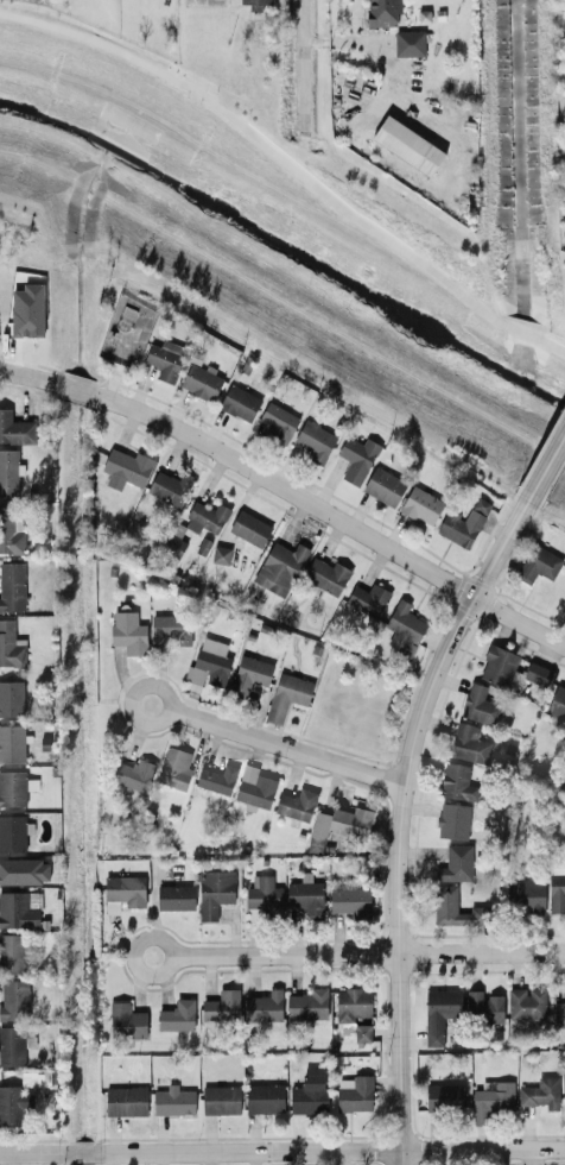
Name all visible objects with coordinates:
building: (254, 4)
building: (383, 12)
road: (367, 39)
building: (408, 42)
road: (298, 62)
building: (407, 144)
road: (267, 146)
river: (285, 251)
building: (26, 310)
road: (522, 330)
road: (550, 342)
building: (165, 358)
road: (31, 379)
building: (201, 380)
road: (75, 389)
building: (239, 402)
building: (277, 421)
building: (14, 428)
building: (312, 440)
road: (547, 455)
building: (356, 458)
building: (125, 467)
building: (8, 471)
building: (383, 485)
building: (167, 486)
building: (420, 504)
road: (328, 515)
building: (204, 517)
building: (463, 523)
building: (11, 528)
building: (249, 528)
building: (220, 554)
building: (538, 563)
building: (278, 566)
building: (326, 575)
building: (11, 585)
building: (367, 598)
building: (167, 630)
building: (127, 631)
building: (11, 644)
building: (209, 661)
building: (496, 665)
building: (537, 673)
building: (248, 674)
building: (286, 694)
building: (11, 698)
road: (167, 699)
building: (557, 704)
building: (478, 705)
building: (11, 742)
building: (468, 743)
road: (282, 748)
building: (174, 768)
building: (140, 774)
building: (216, 779)
building: (456, 781)
building: (14, 786)
building: (254, 787)
building: (296, 804)
road: (396, 811)
building: (452, 820)
building: (337, 825)
building: (14, 832)
building: (455, 863)
building: (23, 870)
building: (214, 890)
building: (122, 892)
building: (262, 893)
building: (556, 893)
building: (305, 895)
building: (526, 895)
building: (174, 896)
building: (350, 901)
building: (19, 908)
building: (455, 908)
road: (164, 940)
building: (12, 952)
road: (368, 953)
building: (13, 999)
building: (351, 1002)
building: (526, 1002)
building: (306, 1005)
building: (221, 1006)
building: (264, 1006)
building: (483, 1006)
building: (439, 1013)
building: (177, 1014)
building: (558, 1014)
building: (125, 1020)
building: (361, 1032)
building: (13, 1045)
building: (354, 1092)
building: (540, 1092)
building: (307, 1094)
building: (443, 1096)
building: (264, 1097)
building: (220, 1098)
building: (491, 1098)
building: (125, 1100)
building: (172, 1101)
building: (13, 1103)
road: (332, 1148)
road: (33, 1152)
road: (83, 1152)
road: (528, 1155)

